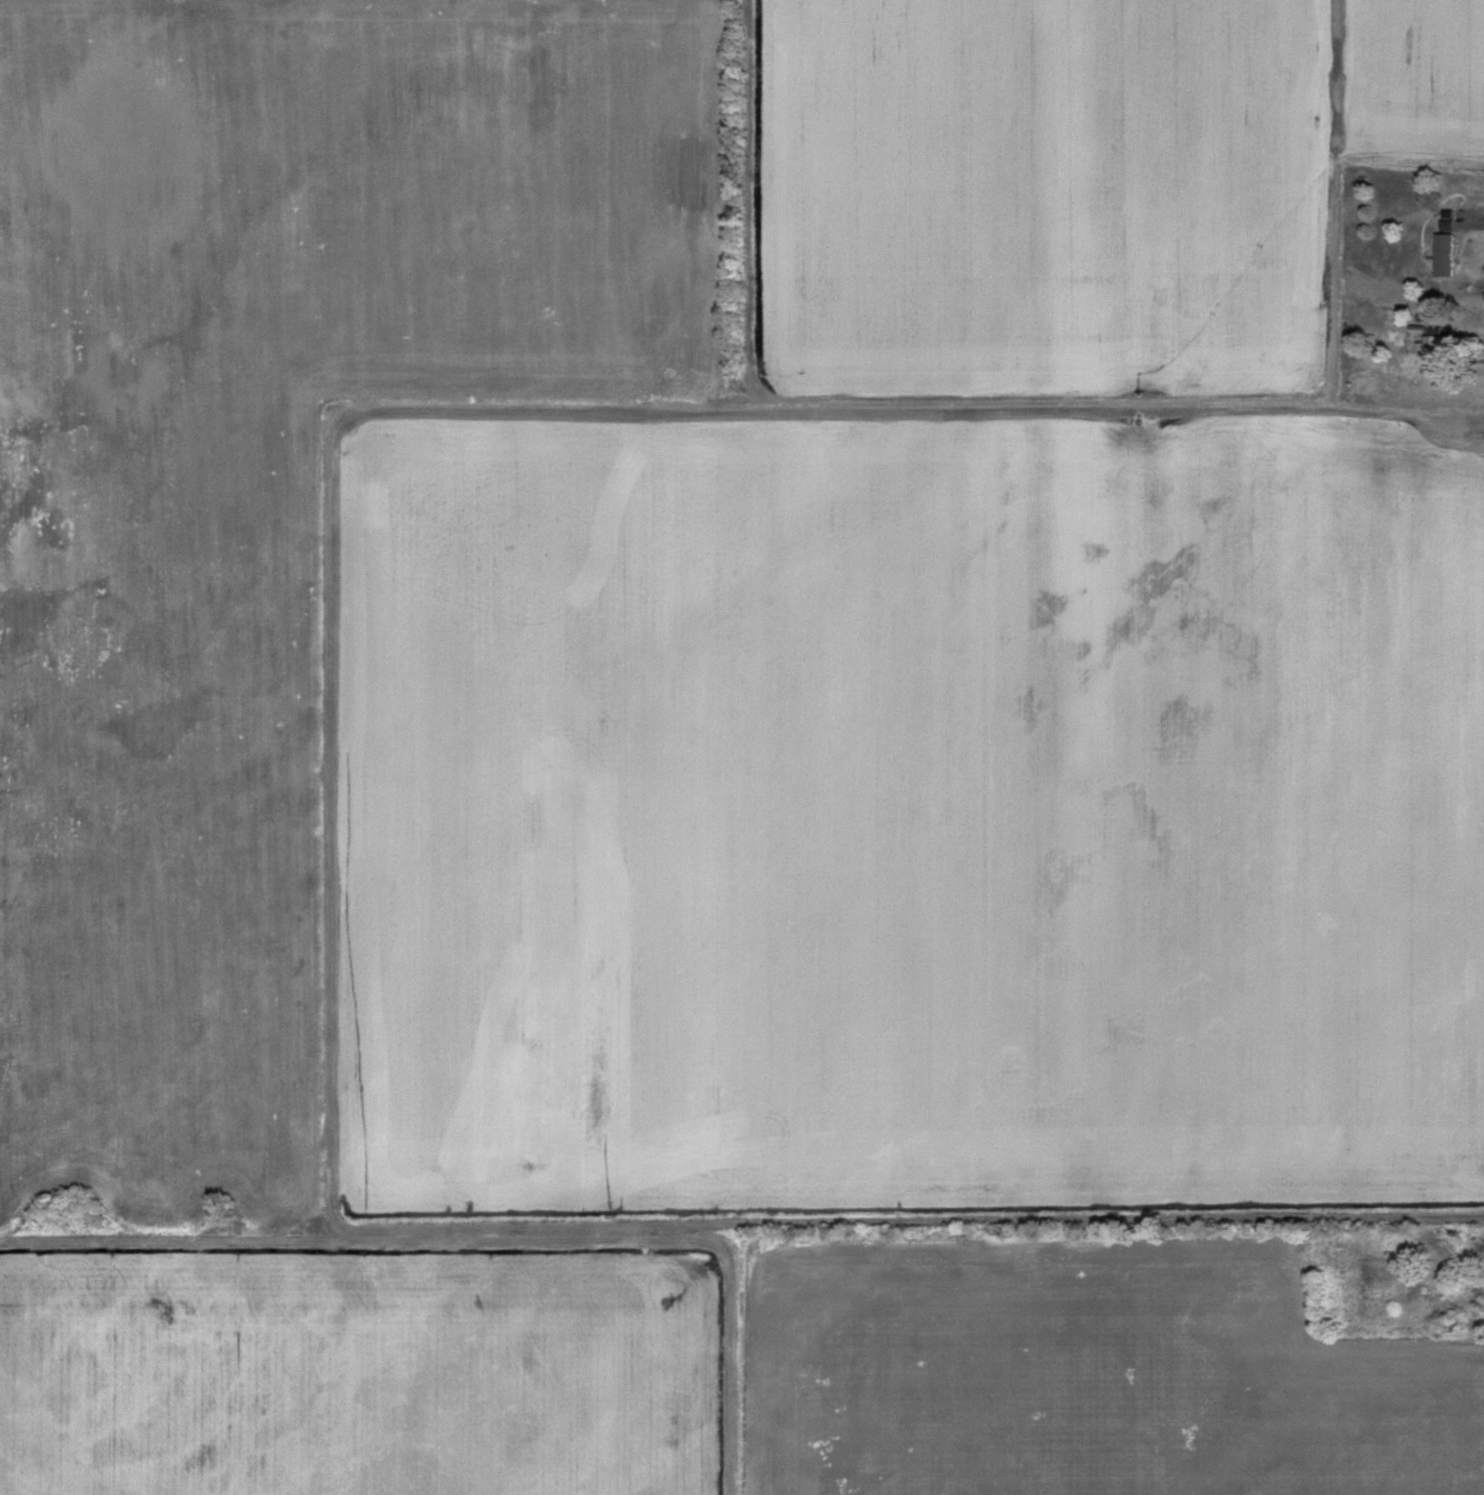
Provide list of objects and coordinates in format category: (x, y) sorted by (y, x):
road: (1466, 230)
building: (1445, 255)

